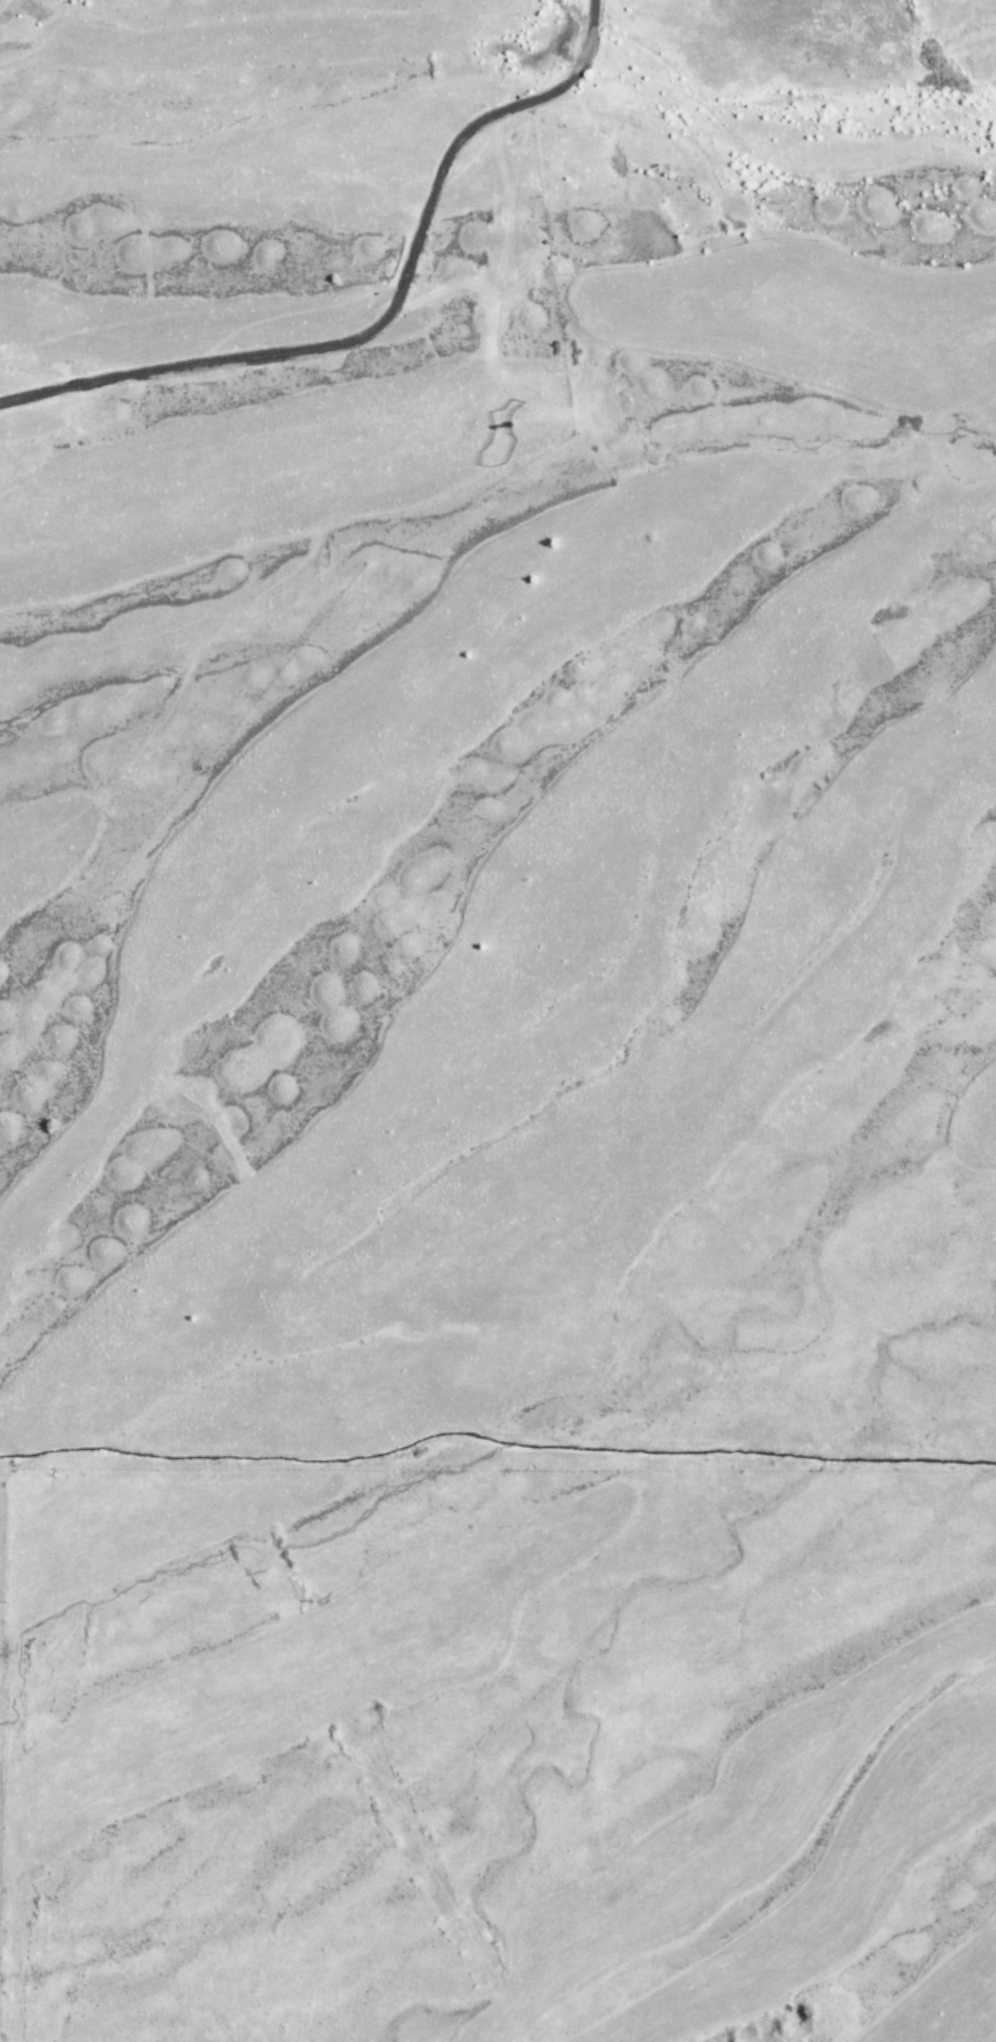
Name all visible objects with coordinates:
road: (380, 310)

